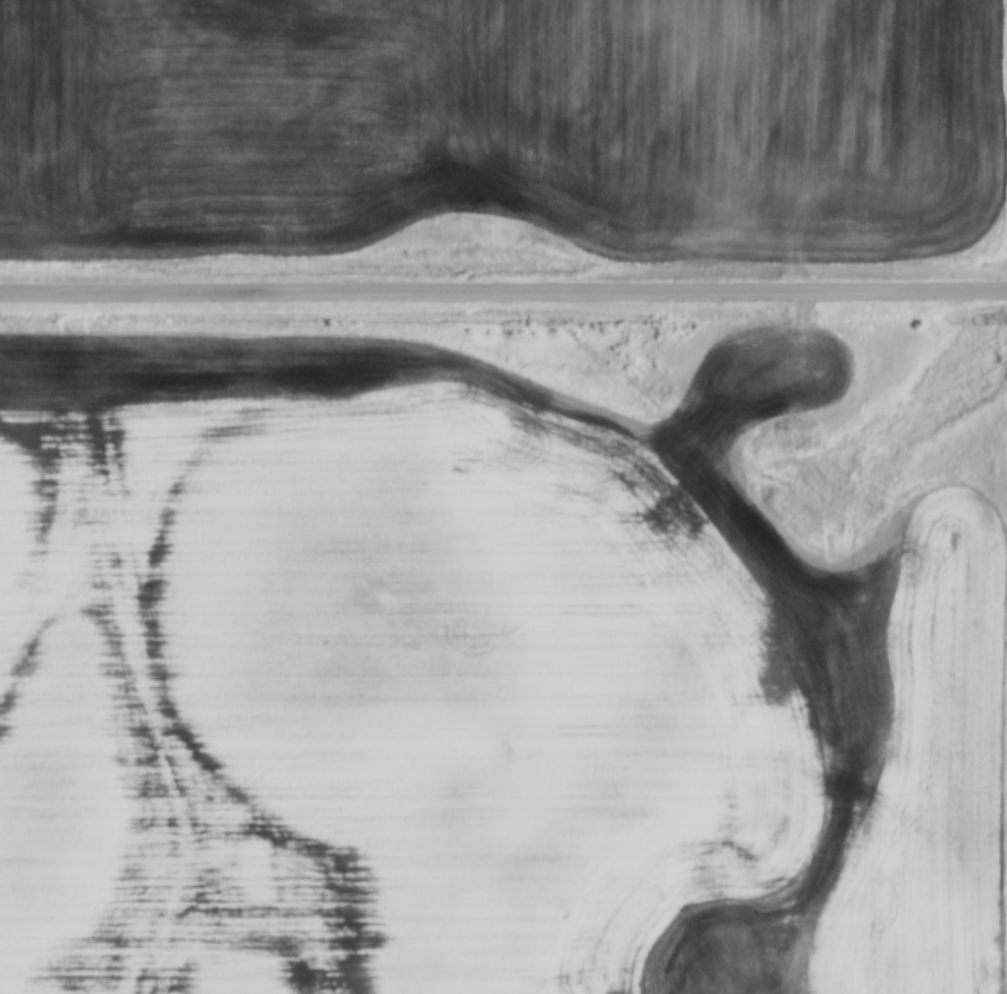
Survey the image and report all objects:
road: (503, 291)

